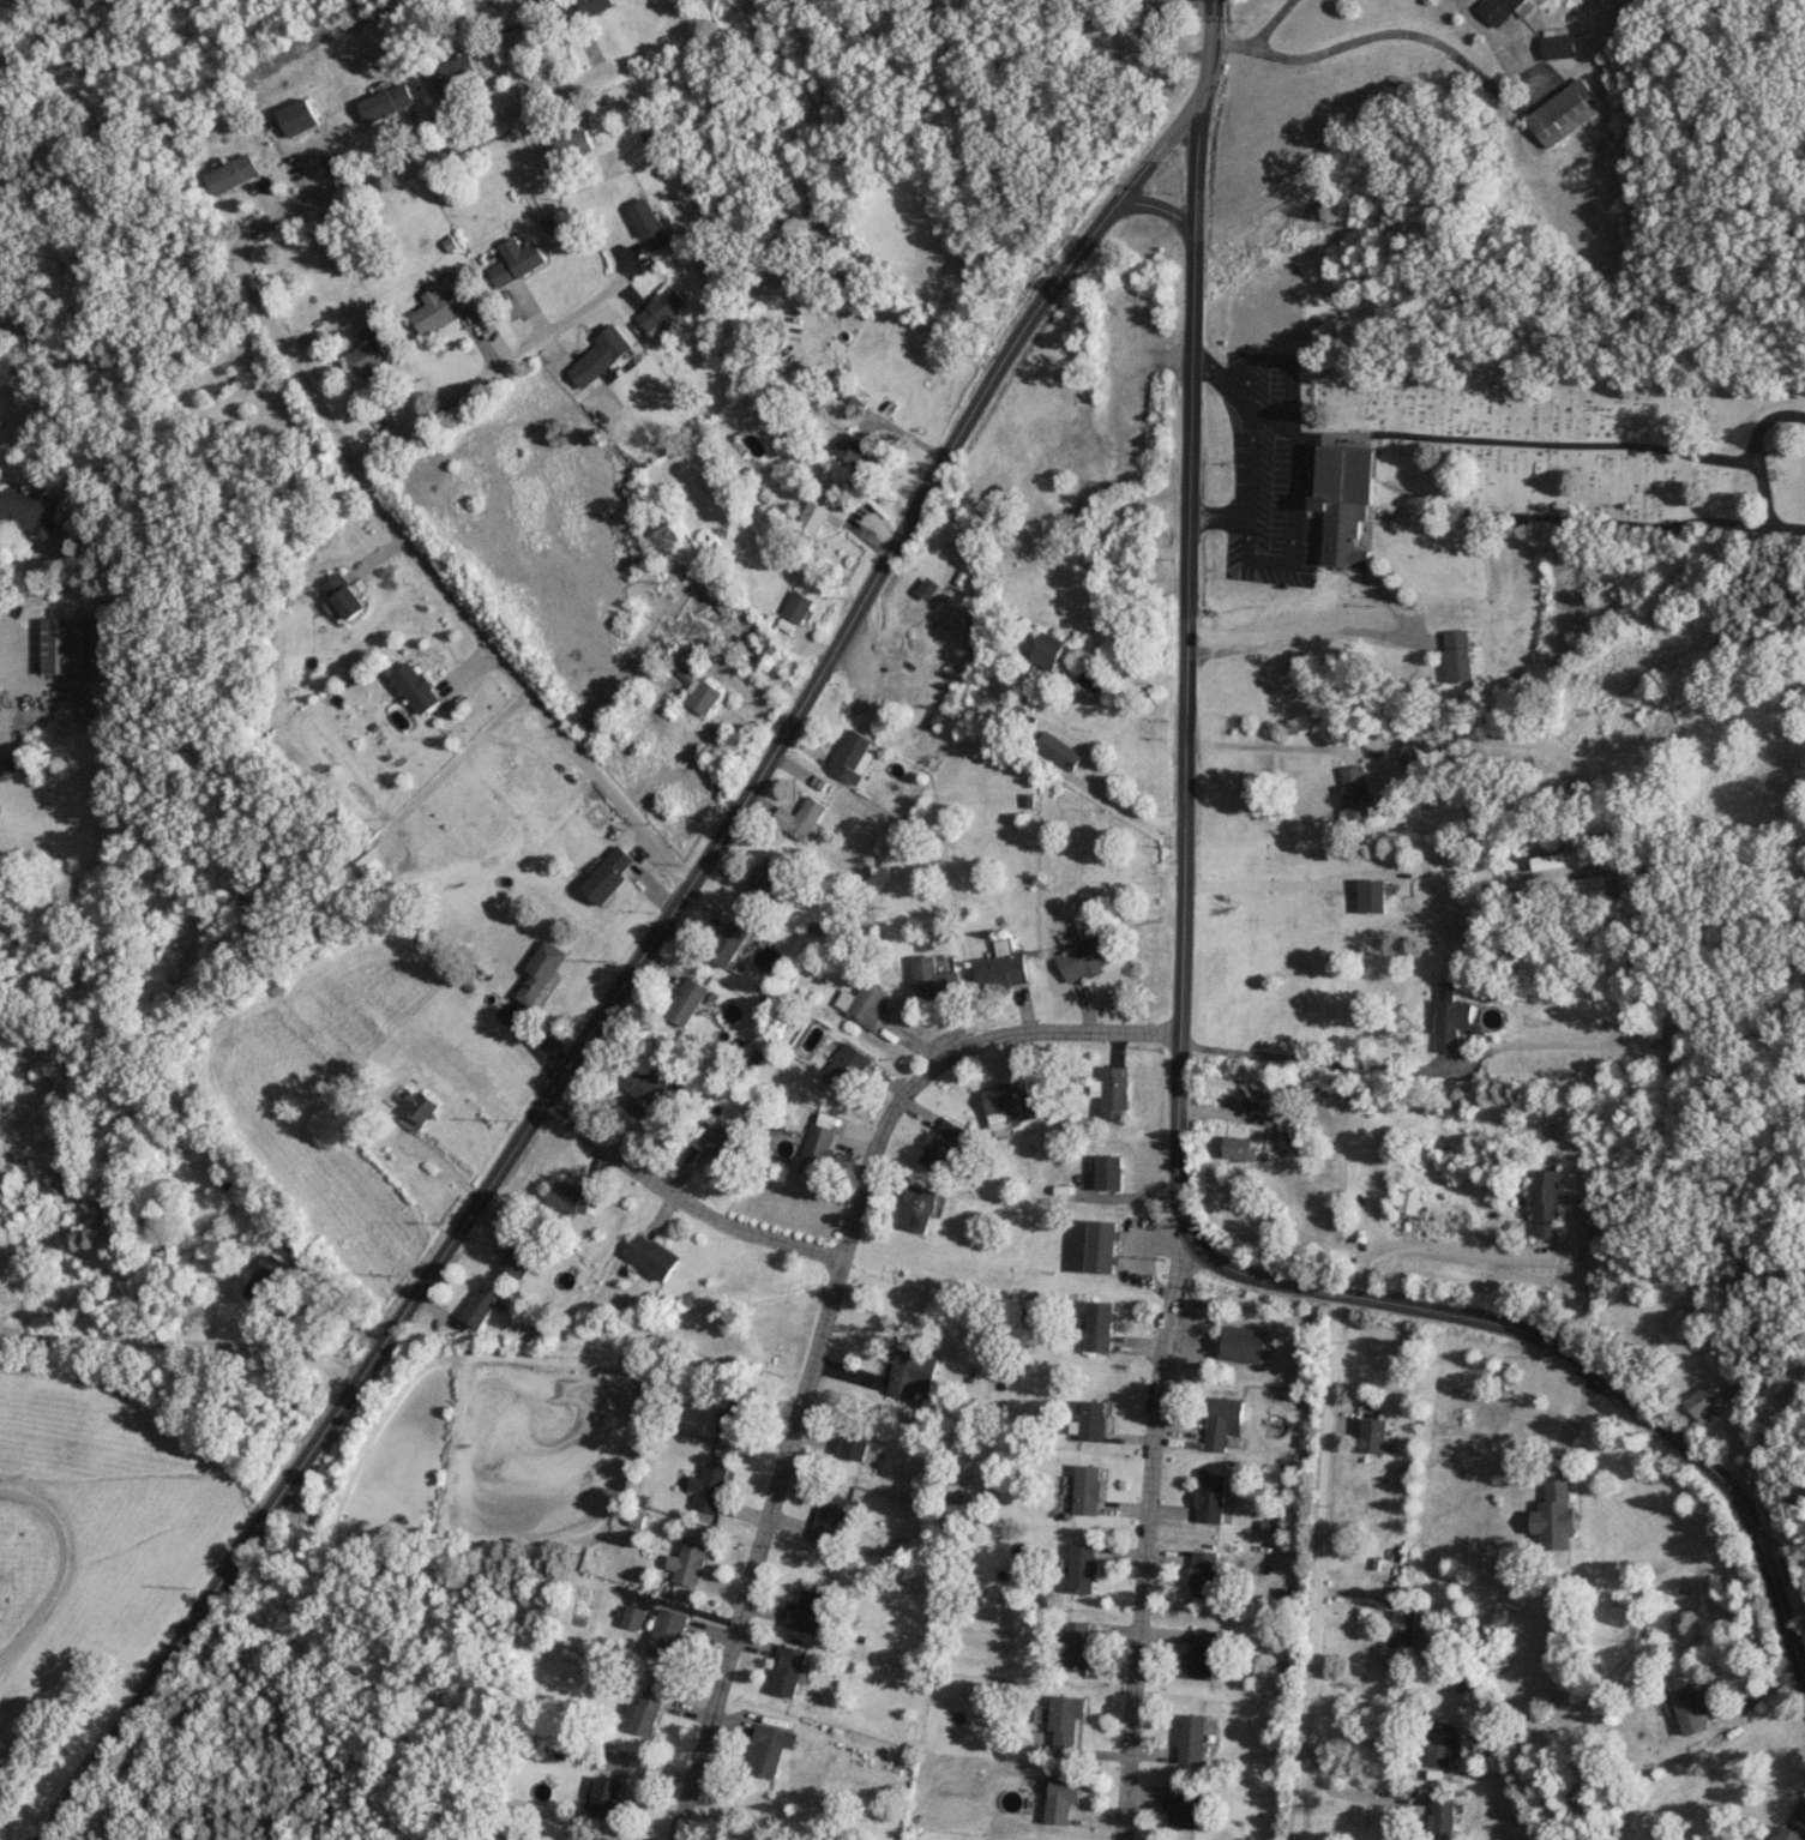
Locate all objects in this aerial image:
building: (591, 6)
building: (1499, 8)
road: (1270, 23)
building: (522, 40)
building: (1139, 40)
road: (1231, 43)
building: (1554, 43)
road: (1205, 47)
road: (1450, 52)
building: (456, 72)
building: (389, 102)
building: (1560, 112)
building: (300, 118)
building: (572, 145)
road: (414, 156)
building: (233, 173)
road: (1159, 210)
building: (652, 224)
building: (518, 261)
building: (438, 308)
building: (663, 308)
building: (367, 353)
building: (601, 356)
road: (498, 366)
building: (801, 374)
park: (1576, 437)
building: (850, 447)
building: (1342, 499)
building: (29, 509)
building: (818, 517)
building: (667, 536)
road: (1186, 566)
road: (435, 582)
building: (344, 594)
building: (799, 606)
road: (1304, 626)
road: (1, 631)
building: (58, 645)
building: (1051, 650)
building: (1451, 654)
building: (417, 686)
building: (705, 696)
road: (1060, 732)
road: (1271, 745)
building: (1060, 750)
building: (1418, 751)
building: (853, 756)
building: (8, 765)
building: (1350, 790)
building: (801, 817)
building: (608, 874)
building: (768, 880)
road: (1271, 883)
building: (1590, 888)
building: (1368, 895)
building: (729, 942)
building: (1087, 958)
building: (1003, 970)
building: (540, 973)
road: (630, 974)
building: (933, 978)
building: (687, 999)
building: (865, 1004)
building: (1448, 1022)
building: (1673, 1027)
road: (1311, 1059)
building: (847, 1066)
building: (640, 1090)
building: (1115, 1092)
building: (1011, 1100)
building: (416, 1110)
building: (1290, 1117)
road: (1175, 1142)
building: (718, 1143)
building: (943, 1143)
building: (1243, 1147)
building: (819, 1148)
building: (1108, 1172)
building: (570, 1197)
building: (1410, 1199)
road: (679, 1201)
building: (1541, 1202)
building: (919, 1207)
building: (283, 1235)
building: (1105, 1245)
road: (1439, 1251)
building: (654, 1255)
building: (518, 1256)
building: (270, 1280)
road: (333, 1305)
building: (479, 1306)
road: (817, 1322)
building: (1683, 1322)
building: (1100, 1324)
building: (1245, 1342)
road: (181, 1343)
road: (1575, 1357)
building: (1714, 1363)
building: (909, 1371)
building: (1699, 1400)
building: (738, 1411)
road: (1768, 1415)
building: (1093, 1419)
building: (1221, 1421)
building: (1373, 1435)
building: (854, 1441)
wastewater plant: (499, 1453)
building: (709, 1486)
building: (1088, 1489)
building: (1209, 1497)
building: (831, 1515)
building: (1556, 1516)
road: (1144, 1538)
building: (690, 1562)
road: (62, 1563)
road: (1316, 1565)
building: (1082, 1568)
building: (1202, 1573)
road: (1789, 1580)
building: (805, 1611)
building: (1401, 1628)
building: (668, 1632)
building: (1078, 1646)
building: (1201, 1654)
building: (787, 1670)
building: (1686, 1707)
building: (646, 1710)
building: (1066, 1719)
building: (1191, 1739)
building: (1437, 1743)
building: (769, 1749)
road: (1356, 1779)
building: (607, 1797)
building: (1061, 1797)
building: (1187, 1809)
building: (1439, 1818)
building: (1780, 1834)
building: (604, 1838)

